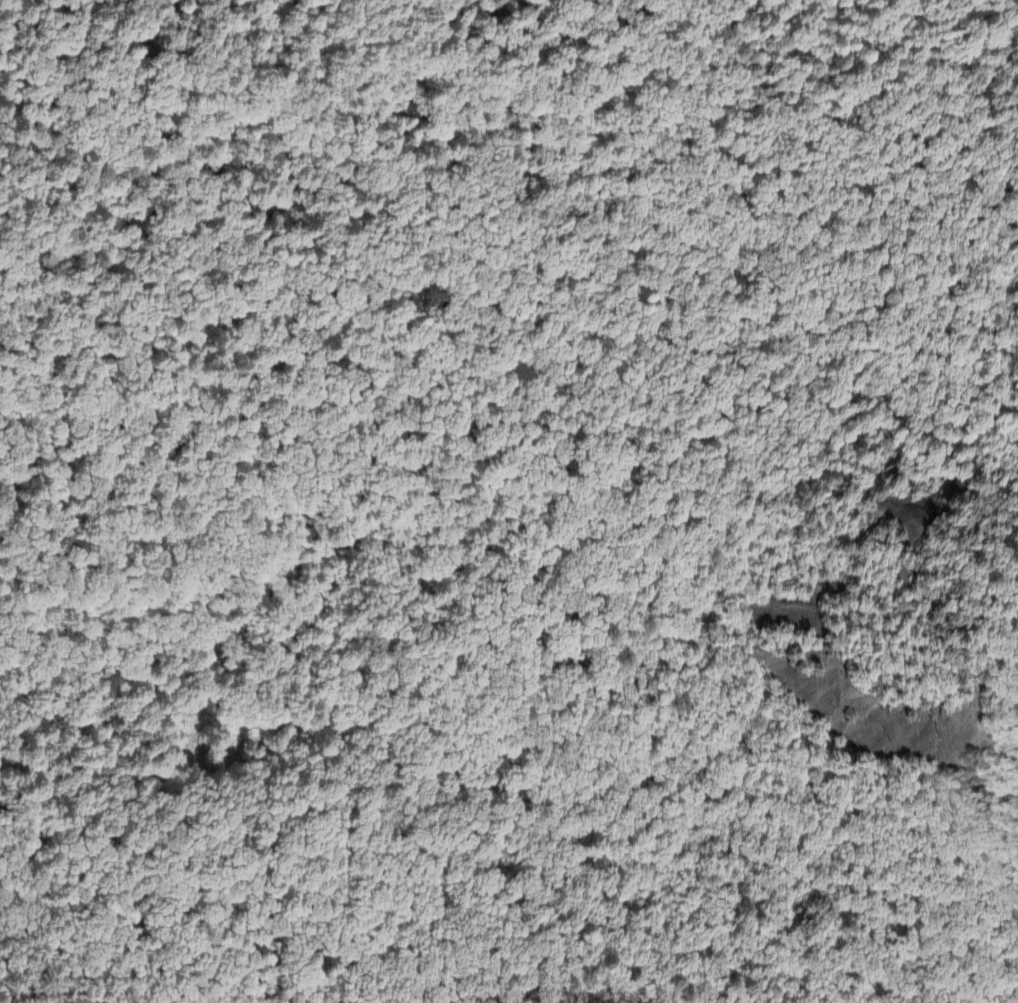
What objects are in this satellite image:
park: (612, 136)
park: (981, 958)

